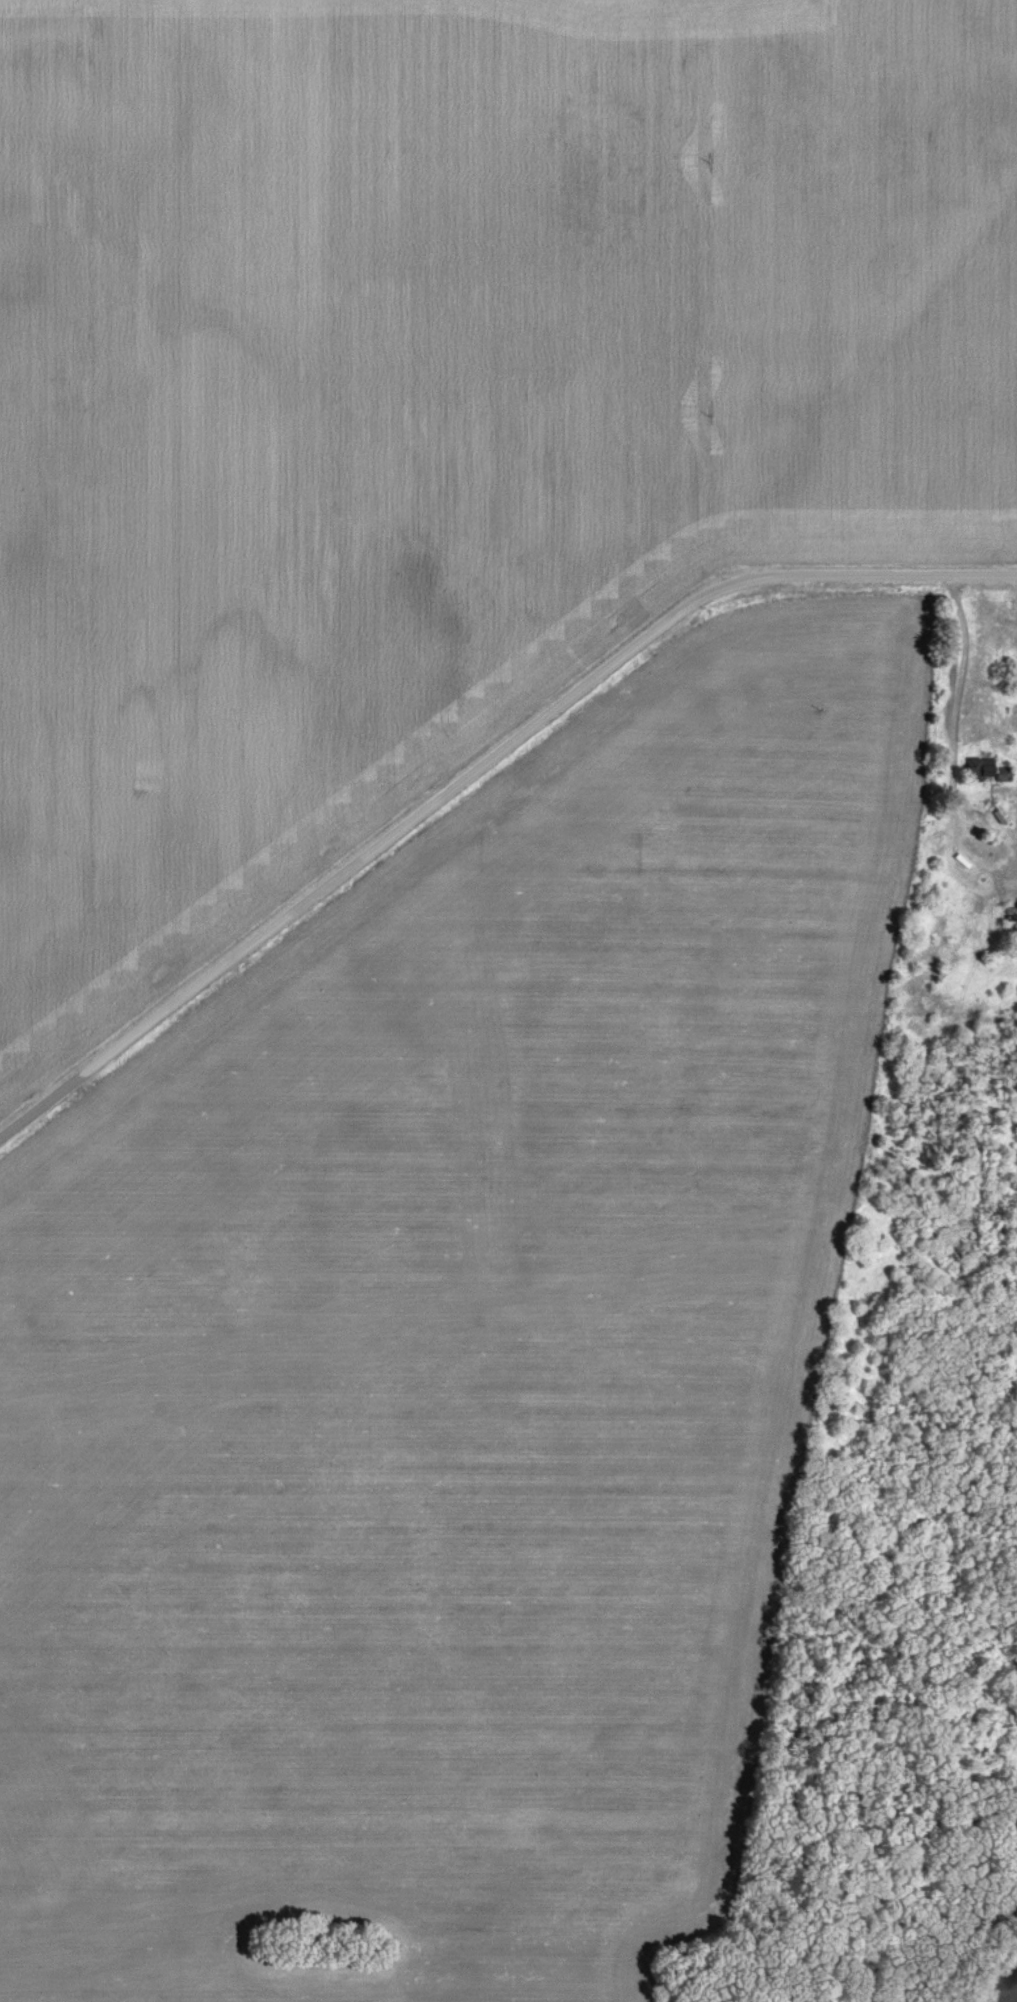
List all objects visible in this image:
road: (472, 749)

